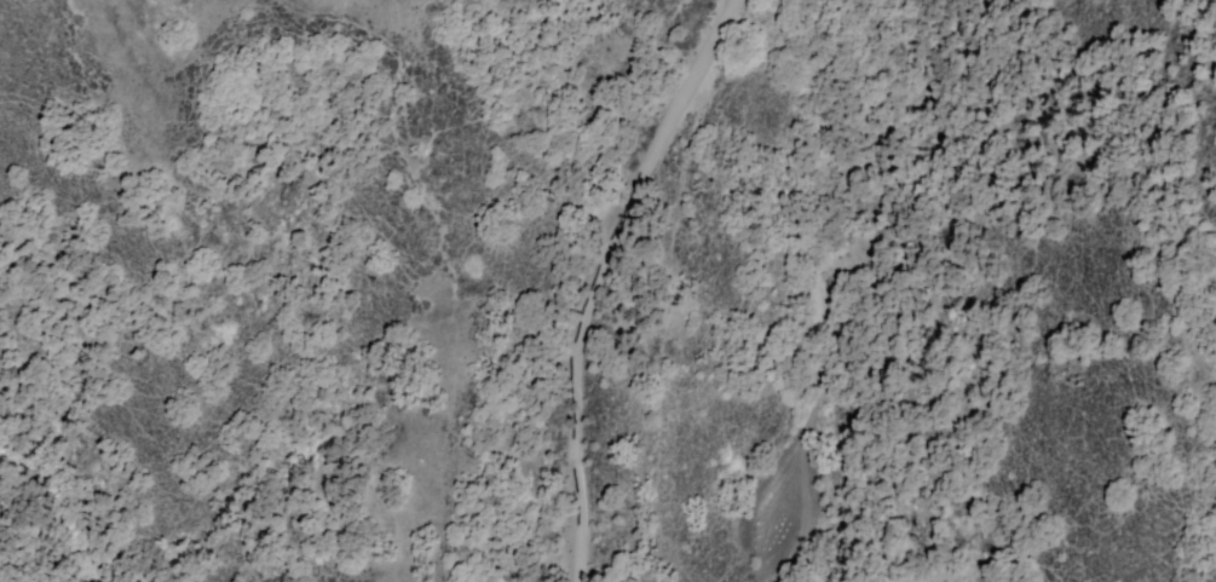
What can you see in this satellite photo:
road: (587, 273)
road: (29, 542)

